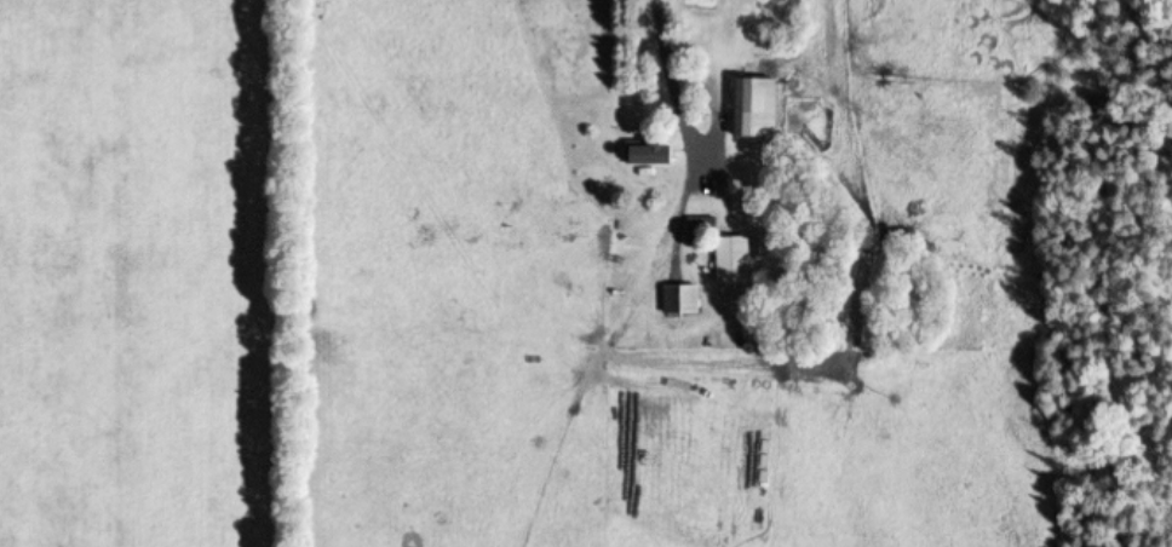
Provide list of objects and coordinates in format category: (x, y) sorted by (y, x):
building: (749, 110)
building: (645, 156)
building: (729, 260)
building: (678, 300)

